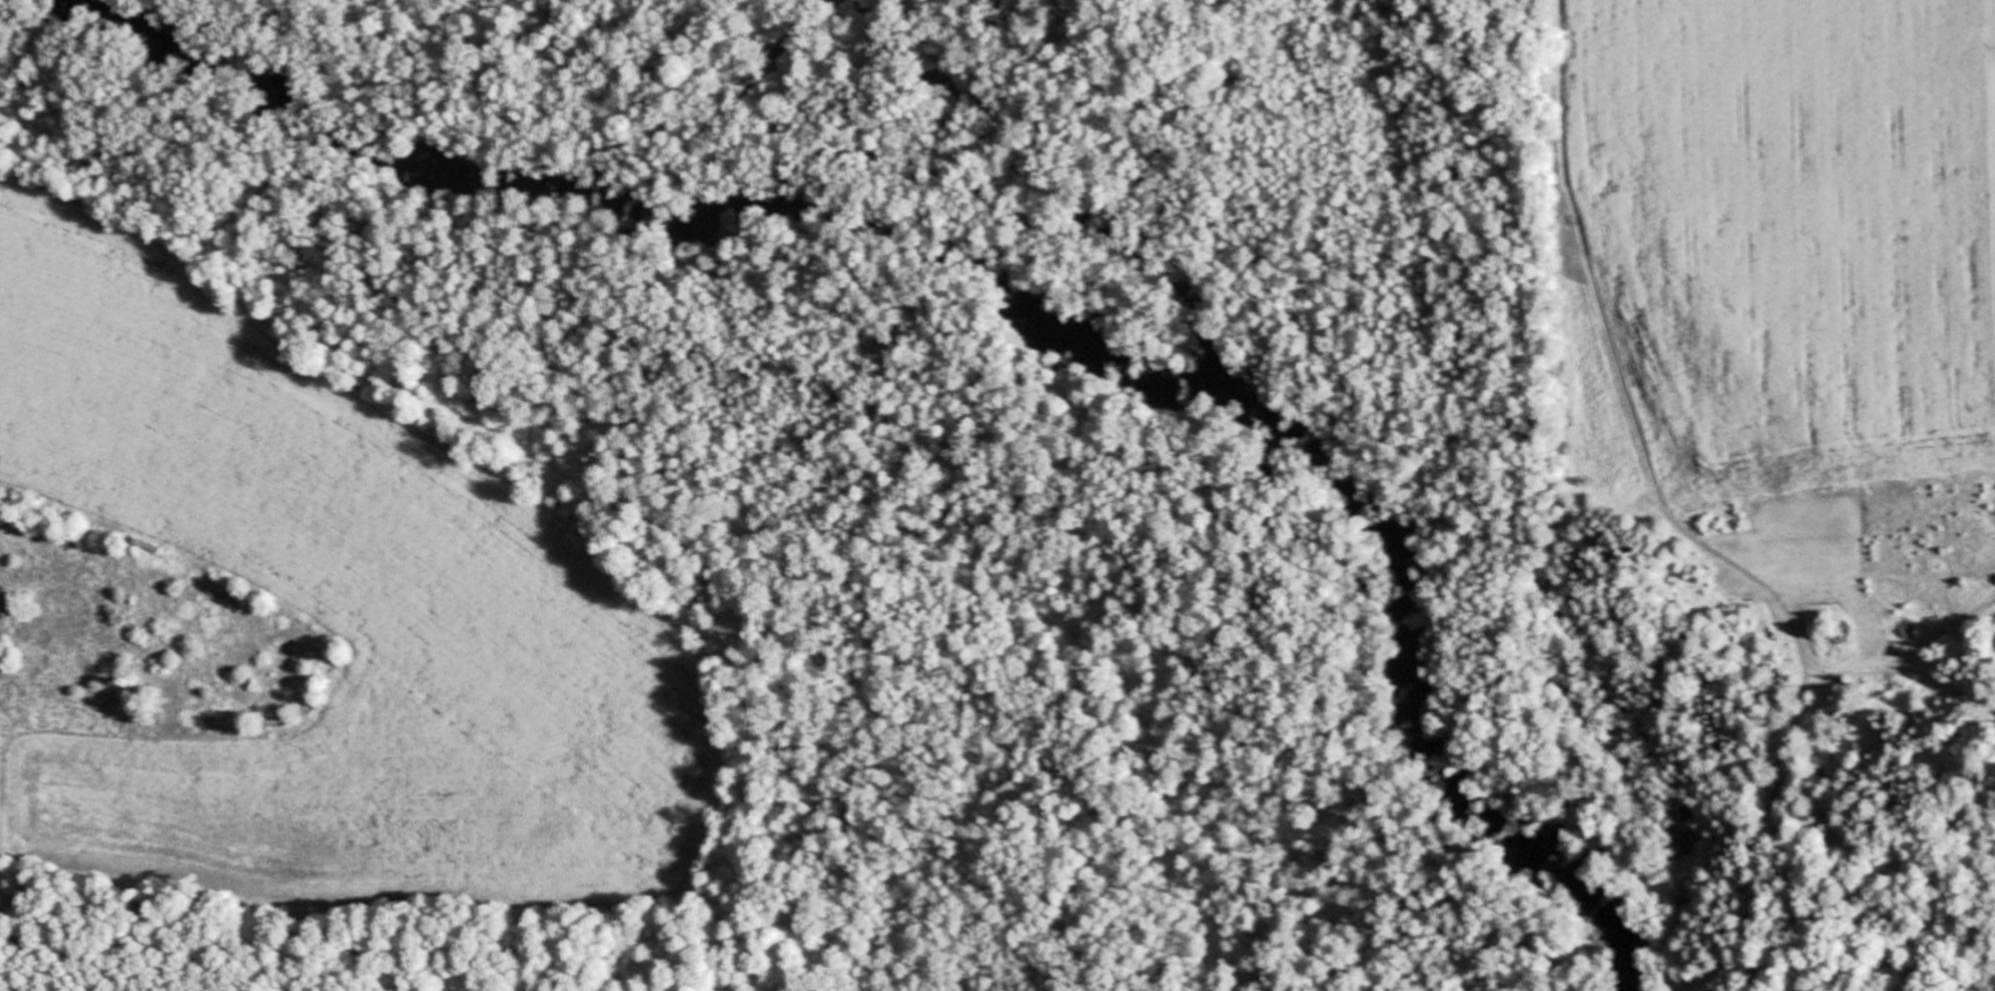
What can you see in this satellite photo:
road: (1589, 270)
river: (1016, 297)

